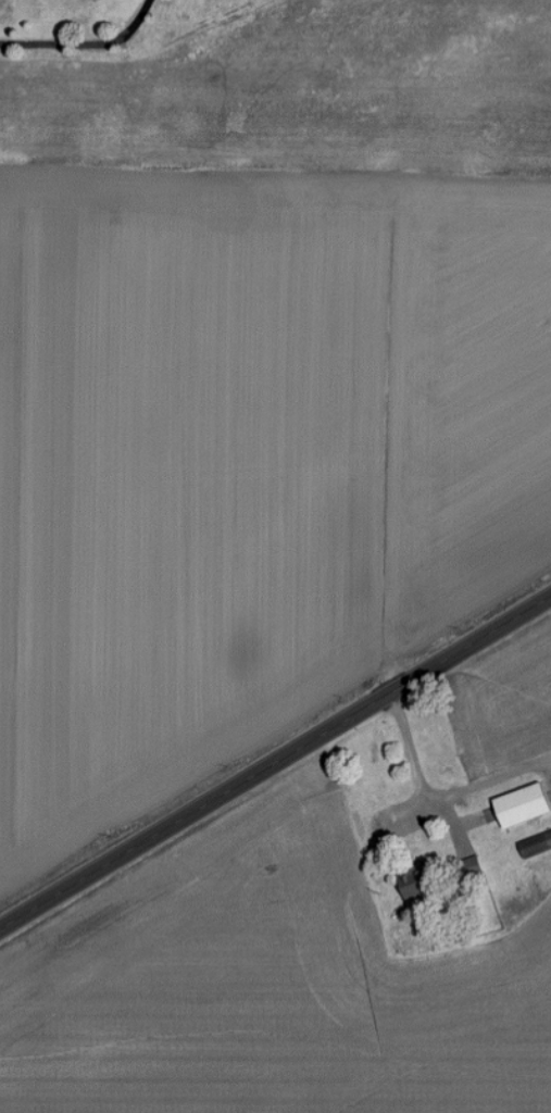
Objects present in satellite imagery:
road: (88, 46)
road: (275, 761)
road: (419, 772)
road: (486, 783)
building: (525, 804)
building: (536, 845)
building: (474, 865)
building: (423, 881)

